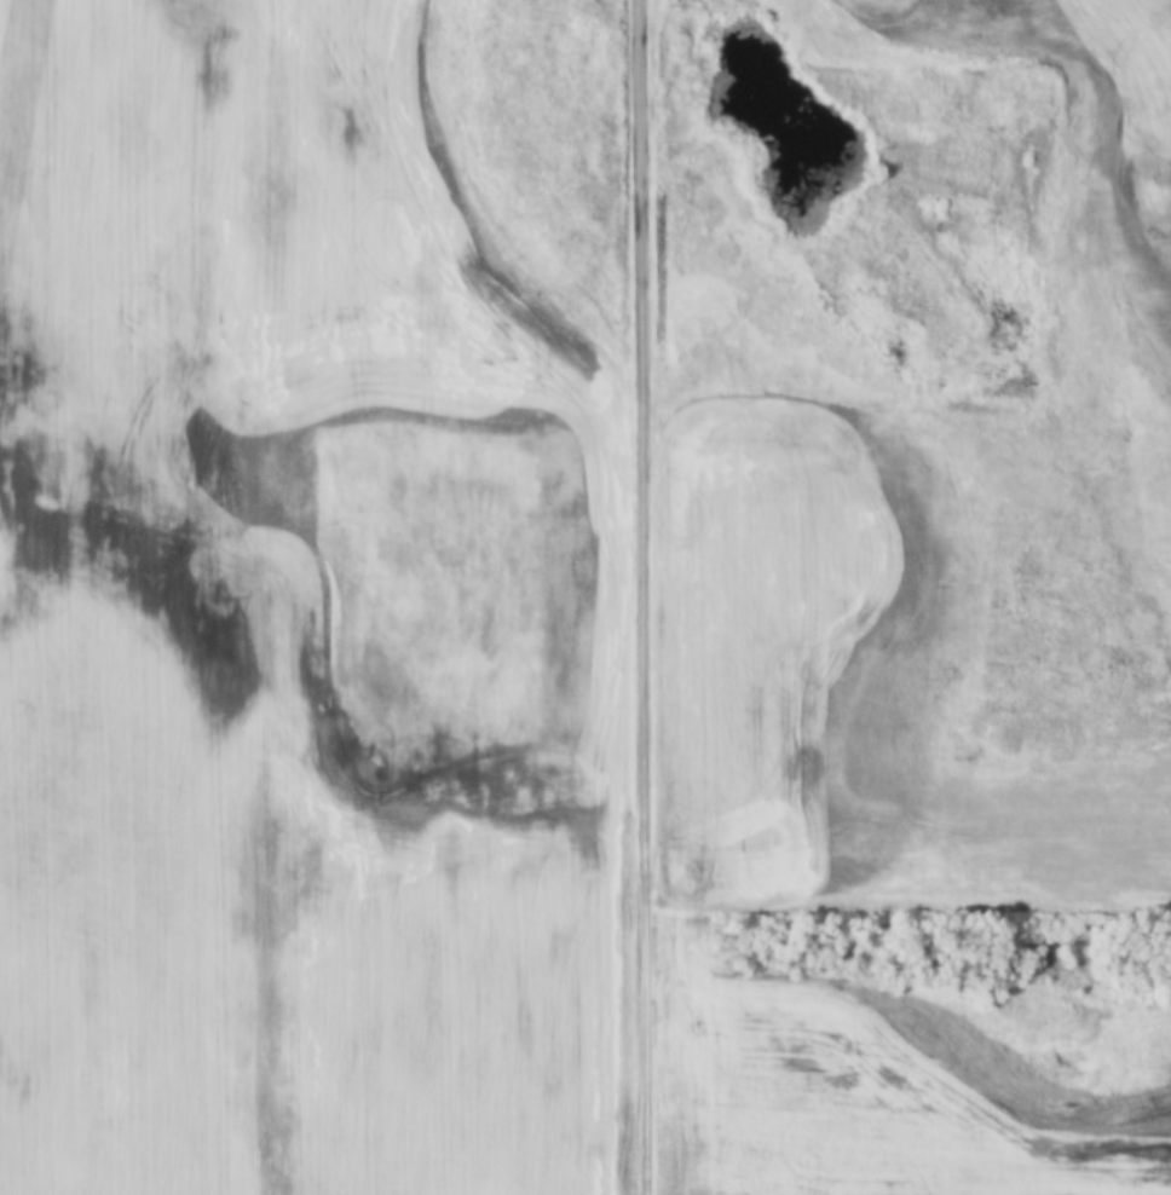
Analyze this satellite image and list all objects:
road: (640, 597)

